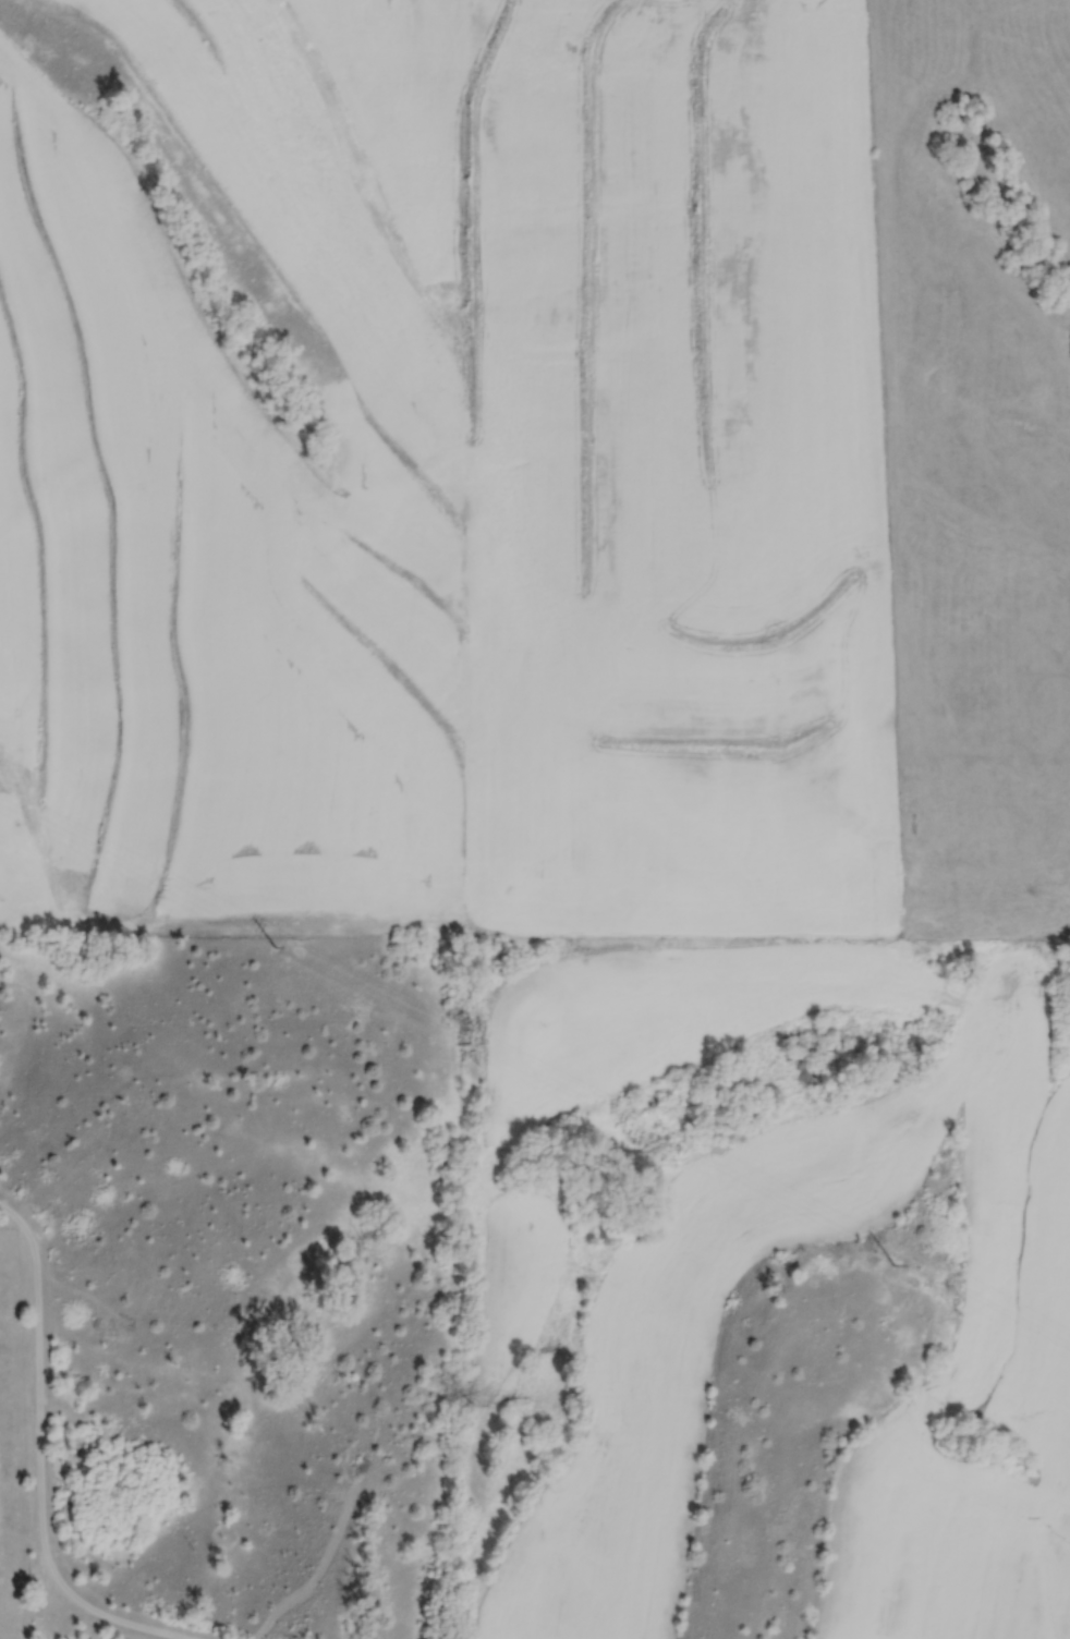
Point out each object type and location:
power tower: (277, 947)
power tower: (898, 1267)
road: (35, 1457)

